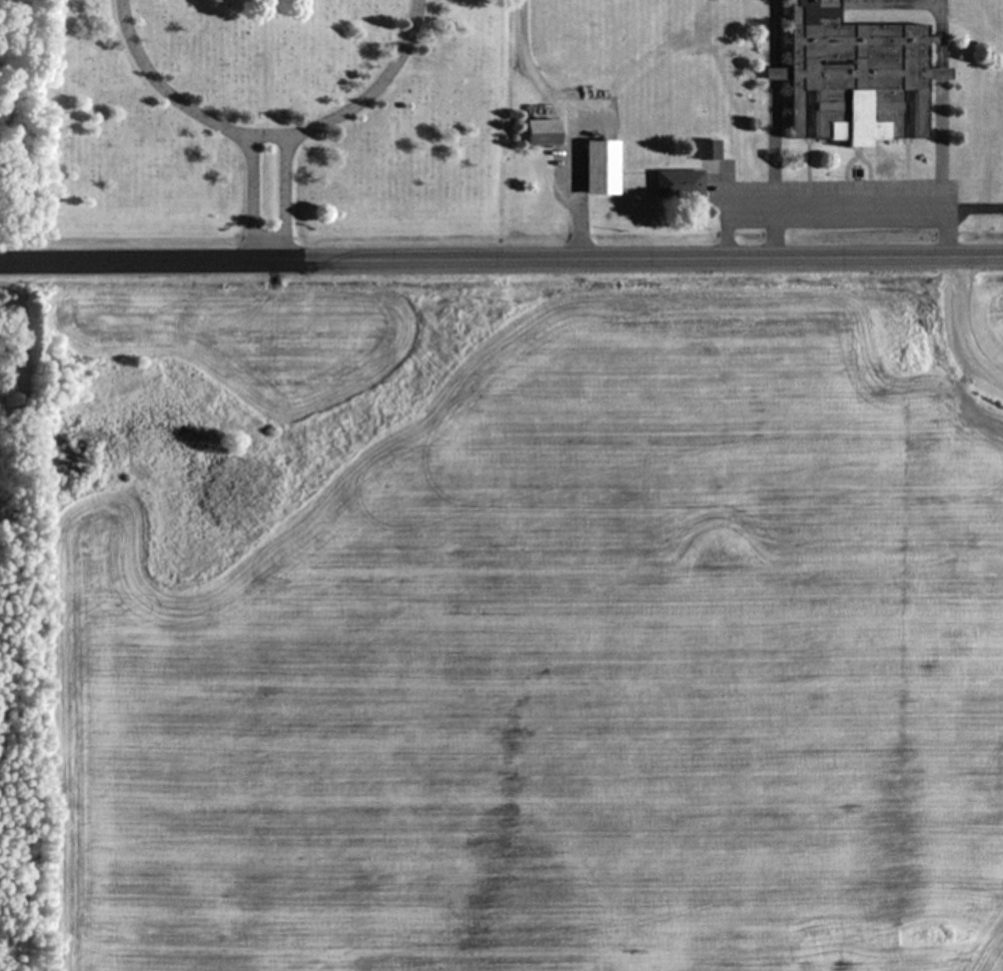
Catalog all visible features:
building: (845, 78)
road: (568, 122)
park: (277, 123)
road: (268, 135)
building: (535, 135)
building: (701, 152)
building: (595, 170)
building: (672, 186)
road: (250, 196)
road: (282, 196)
road: (857, 206)
road: (722, 207)
road: (501, 257)
road: (958, 328)

